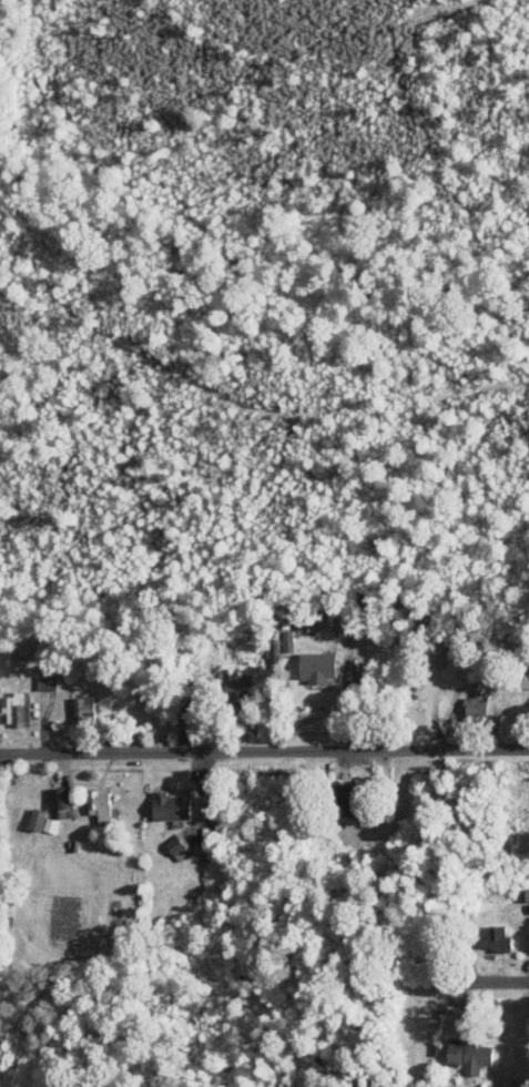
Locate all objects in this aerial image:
building: (319, 666)
building: (242, 679)
building: (47, 681)
building: (528, 683)
building: (475, 703)
building: (17, 708)
building: (84, 709)
road: (264, 750)
building: (63, 796)
building: (352, 799)
building: (100, 802)
building: (174, 805)
building: (43, 820)
building: (180, 846)
building: (527, 894)
building: (496, 939)
road: (426, 983)
building: (470, 1055)

